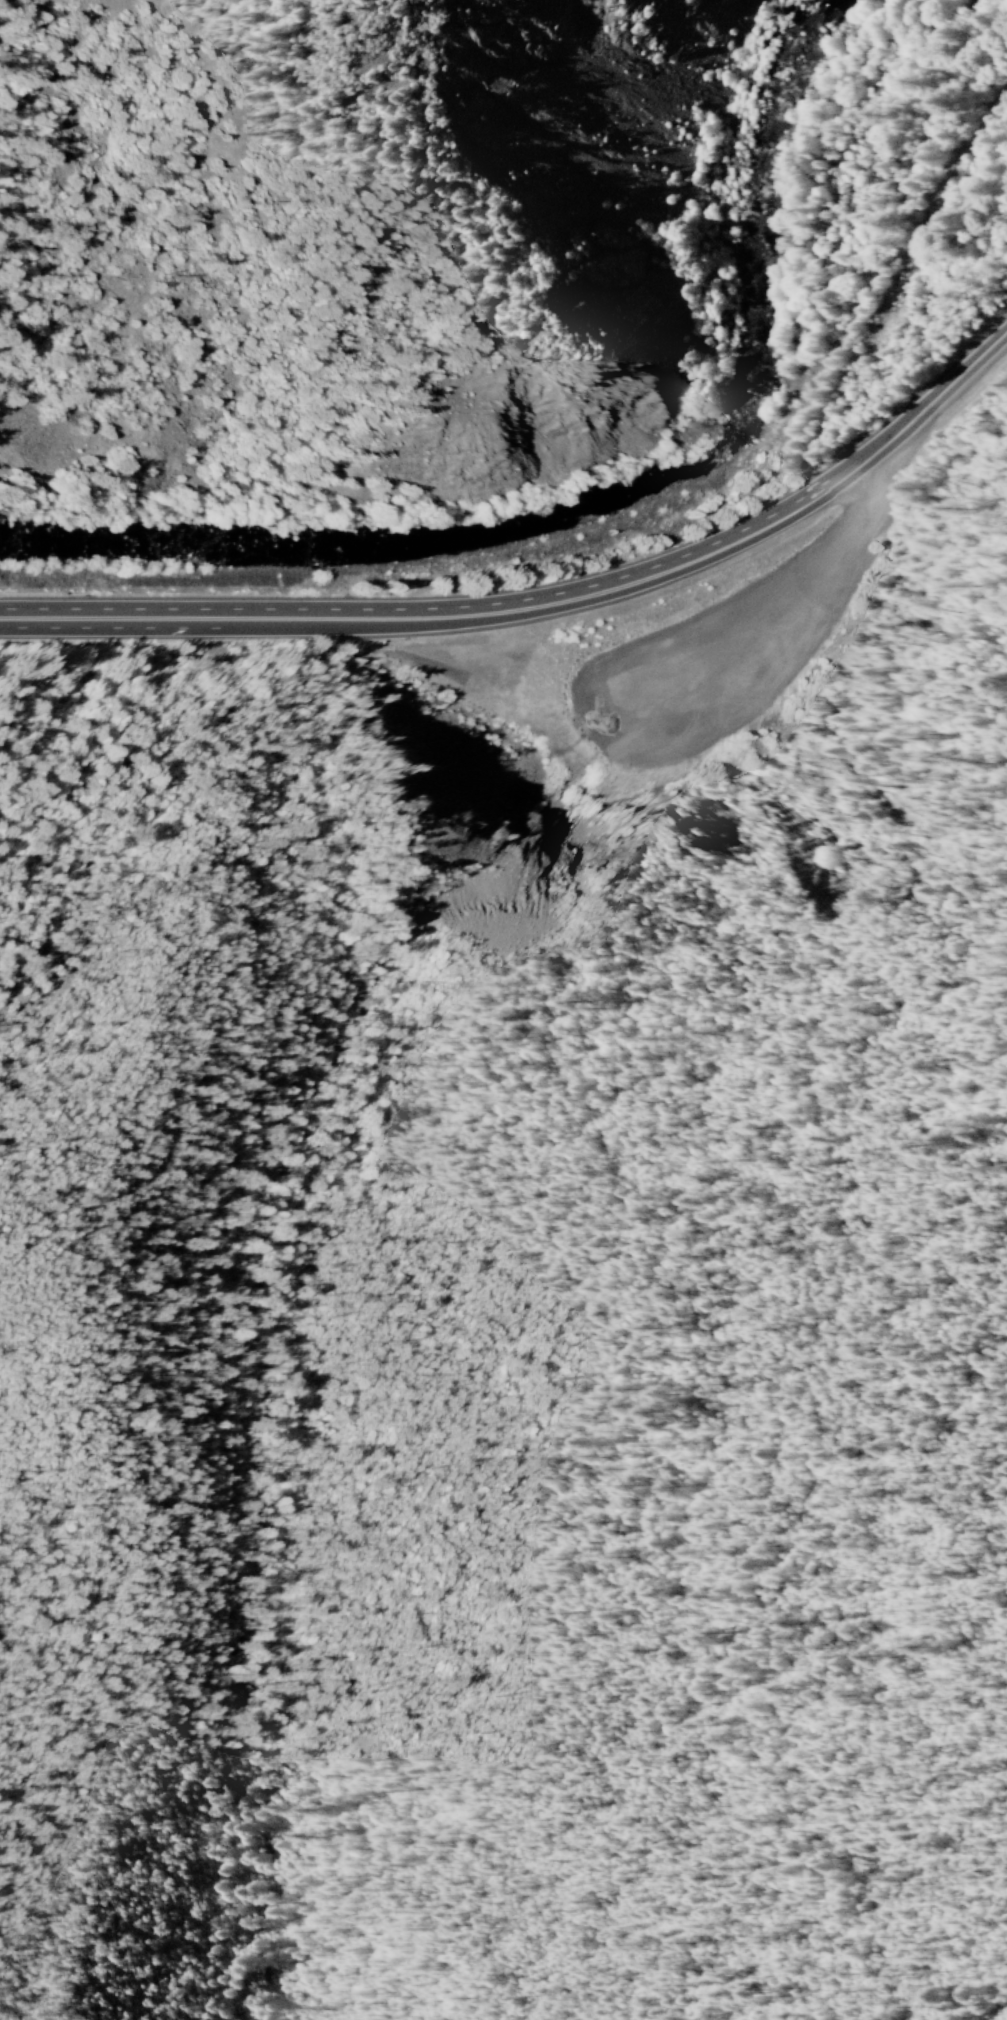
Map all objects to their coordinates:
river: (805, 117)
road: (966, 368)
river: (712, 431)
river: (471, 528)
river: (330, 544)
river: (120, 548)
road: (616, 582)
road: (130, 616)
road: (782, 628)
parking lot: (727, 650)

